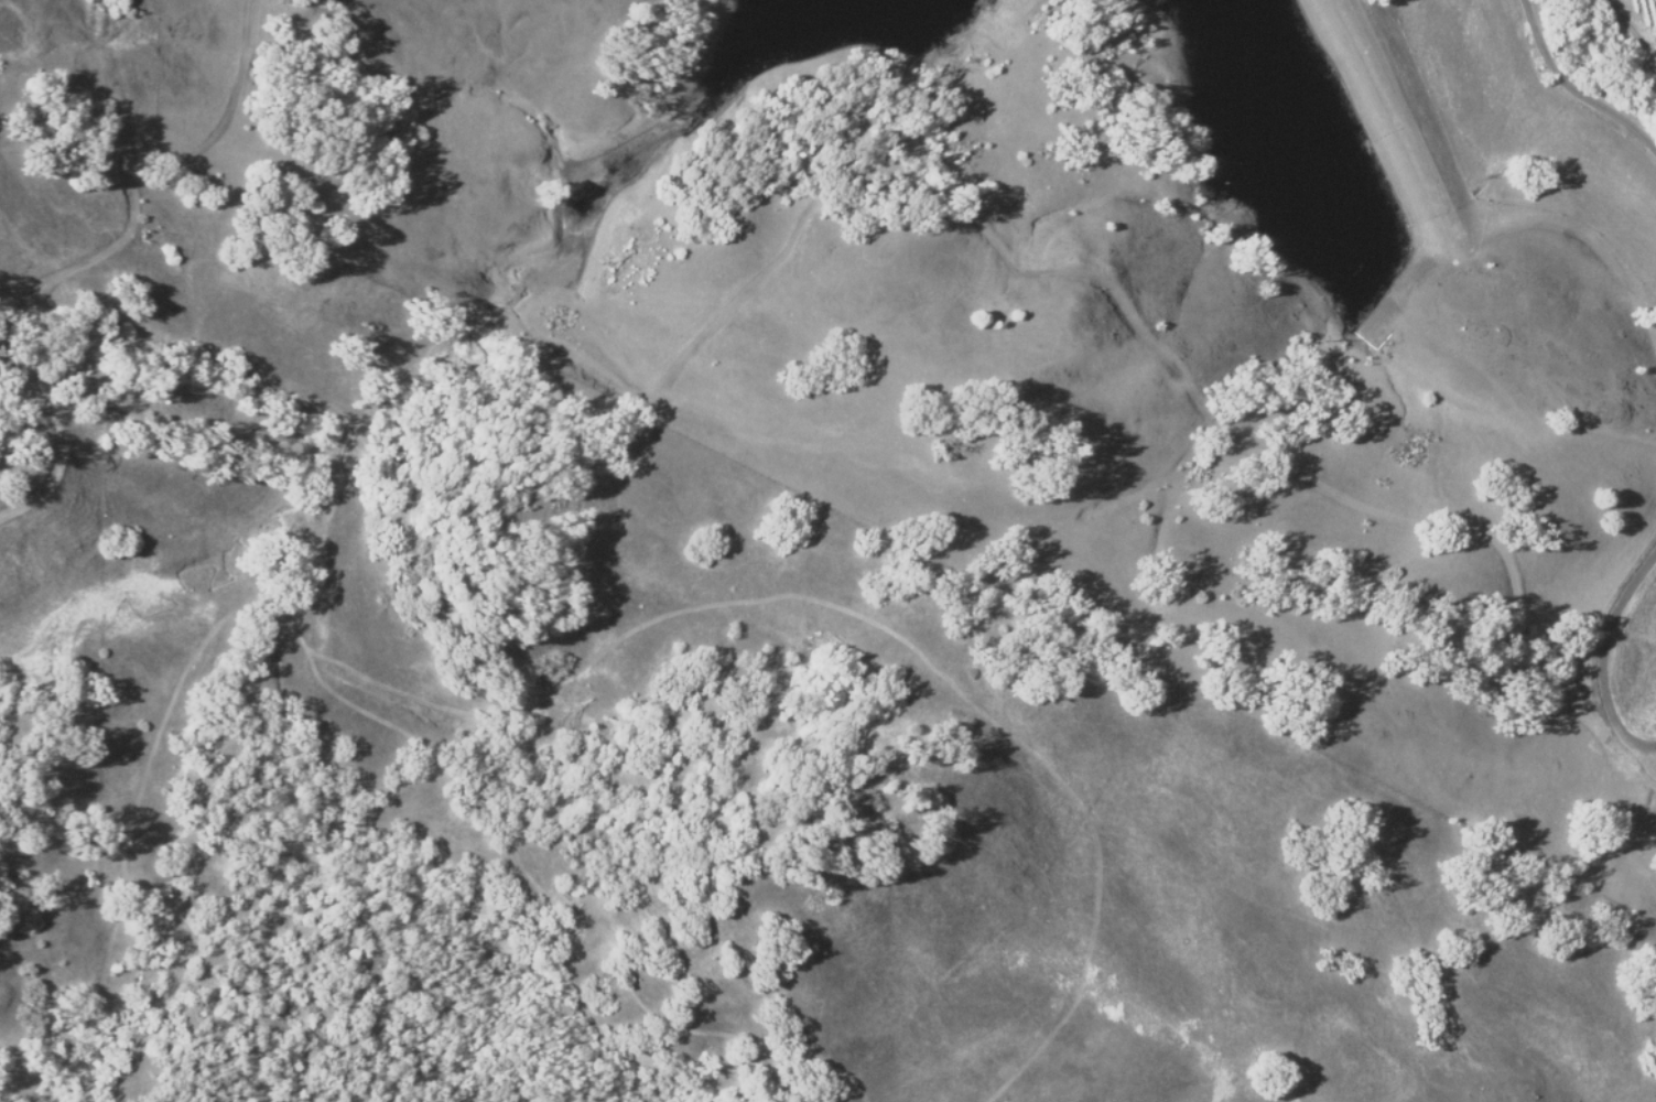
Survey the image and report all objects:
road: (1633, 25)
road: (1631, 237)
road: (1633, 665)

